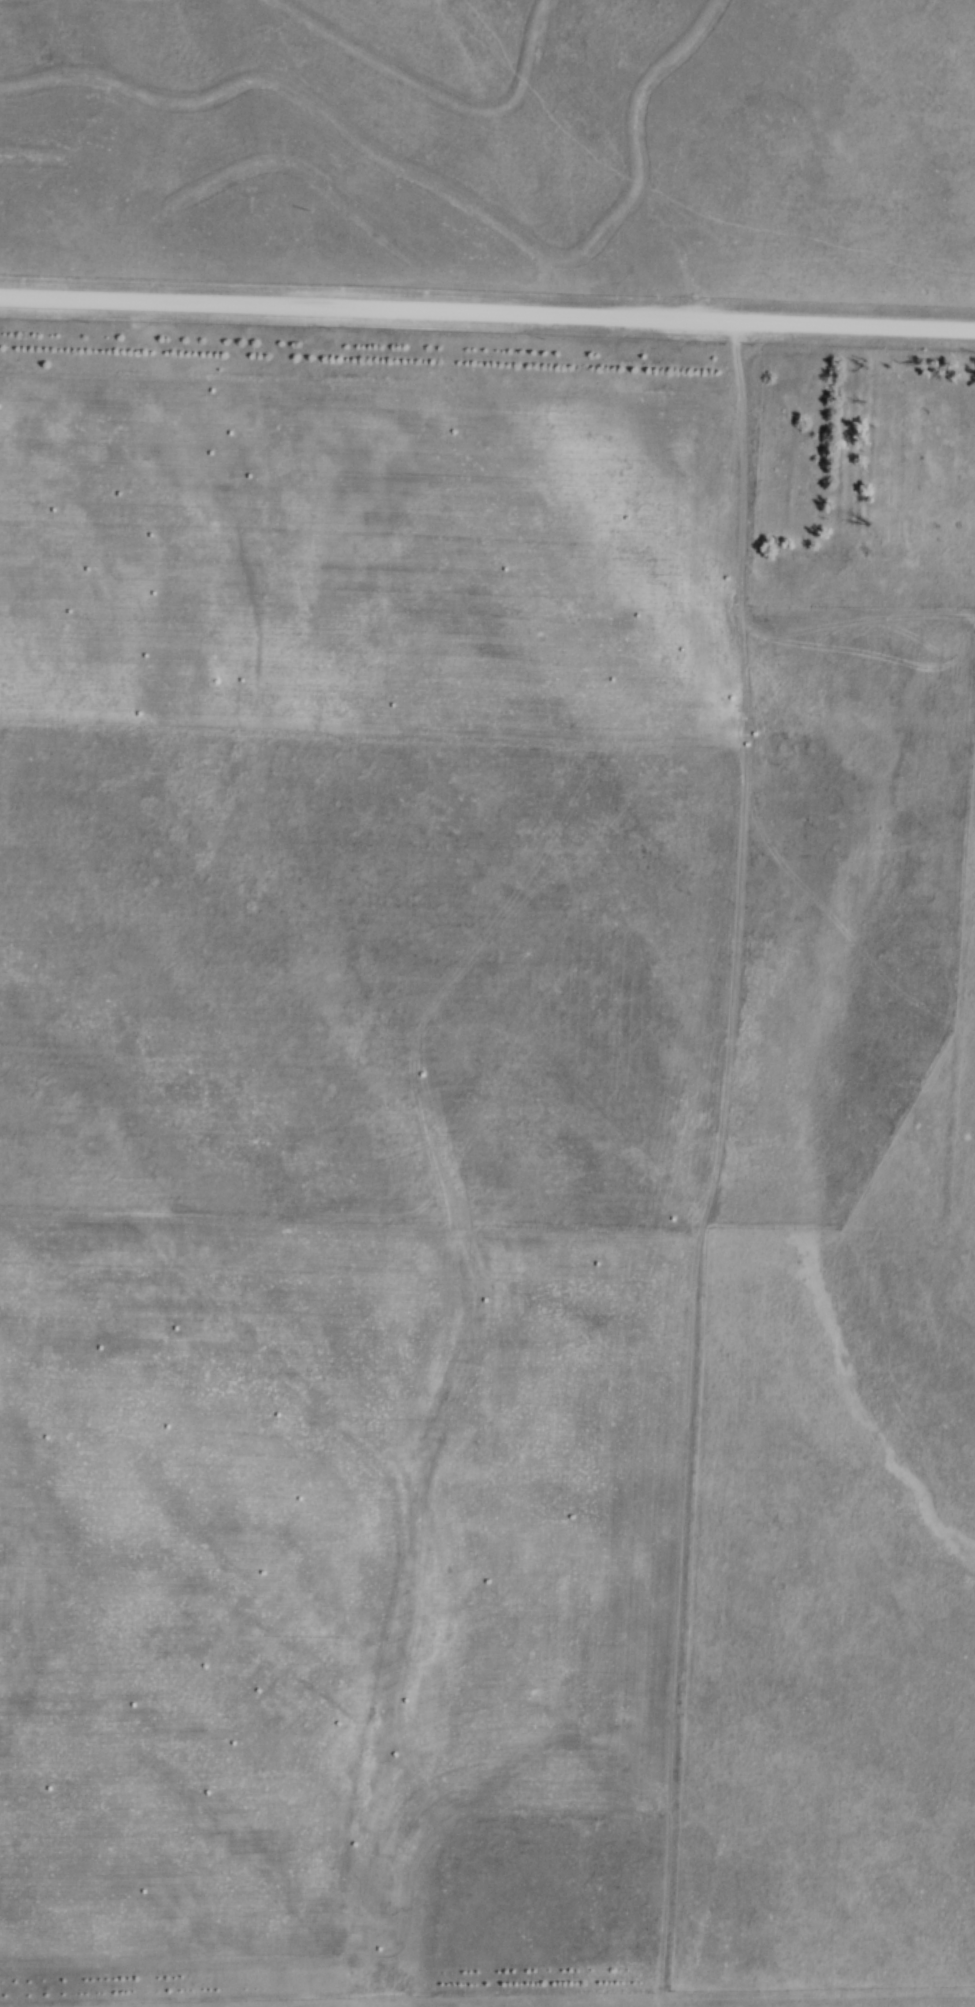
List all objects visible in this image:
road: (487, 310)

